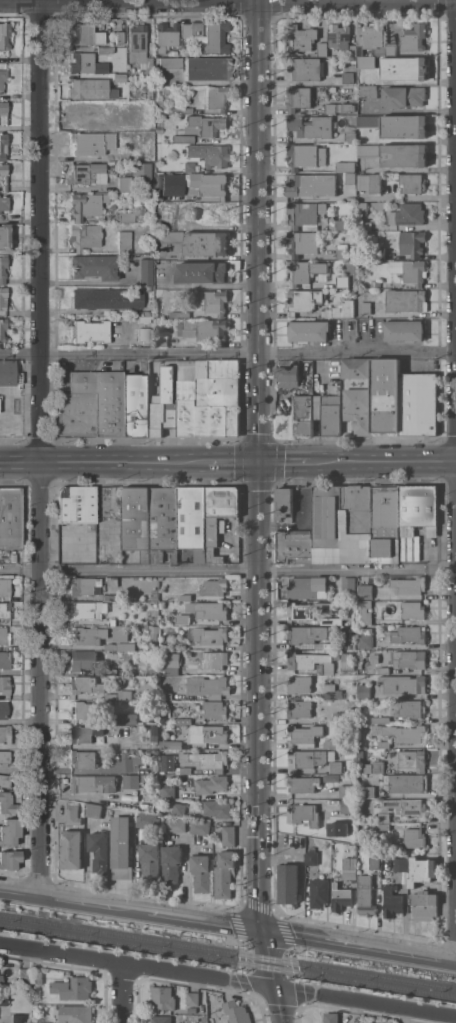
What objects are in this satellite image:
road: (338, 1)
road: (228, 3)
building: (196, 29)
building: (185, 30)
building: (4, 35)
building: (85, 35)
building: (339, 35)
building: (165, 36)
building: (119, 37)
building: (301, 37)
building: (372, 37)
building: (414, 37)
building: (214, 38)
building: (137, 44)
building: (321, 49)
building: (390, 49)
building: (353, 50)
building: (104, 51)
building: (368, 63)
building: (85, 64)
building: (170, 64)
building: (145, 68)
building: (304, 68)
building: (404, 68)
building: (206, 69)
building: (348, 78)
building: (2, 79)
building: (119, 80)
building: (89, 90)
building: (148, 90)
building: (368, 91)
building: (403, 97)
building: (216, 98)
building: (299, 98)
building: (339, 107)
building: (3, 109)
building: (181, 111)
building: (86, 112)
building: (139, 115)
building: (368, 121)
building: (207, 124)
building: (311, 126)
building: (404, 126)
building: (159, 130)
building: (350, 137)
building: (182, 139)
building: (91, 143)
building: (3, 146)
building: (368, 150)
building: (209, 154)
building: (306, 155)
building: (404, 155)
building: (126, 156)
building: (345, 166)
building: (188, 167)
building: (141, 172)
building: (87, 174)
building: (3, 175)
building: (351, 177)
building: (192, 180)
building: (370, 182)
building: (412, 183)
building: (214, 184)
building: (312, 184)
building: (125, 185)
building: (172, 185)
building: (4, 203)
building: (86, 205)
building: (362, 207)
building: (306, 214)
building: (407, 214)
building: (126, 217)
building: (346, 224)
building: (365, 225)
road: (258, 230)
building: (4, 237)
building: (83, 237)
building: (169, 237)
building: (120, 241)
building: (206, 243)
building: (303, 243)
building: (412, 243)
building: (342, 250)
building: (93, 267)
building: (2, 268)
building: (410, 270)
building: (145, 272)
building: (203, 272)
building: (298, 272)
building: (342, 281)
building: (148, 288)
building: (107, 298)
building: (2, 299)
building: (302, 300)
building: (406, 300)
building: (214, 301)
building: (342, 309)
building: (364, 311)
building: (144, 314)
building: (180, 314)
building: (143, 320)
building: (2, 329)
building: (204, 329)
building: (309, 330)
building: (404, 330)
building: (89, 332)
building: (143, 335)
building: (161, 341)
road: (228, 354)
building: (356, 370)
building: (9, 373)
building: (288, 375)
building: (352, 383)
building: (209, 398)
building: (375, 400)
building: (418, 403)
building: (92, 404)
building: (164, 405)
building: (136, 406)
building: (317, 407)
building: (331, 414)
building: (297, 418)
road: (39, 447)
road: (231, 461)
traffic signals: (259, 461)
road: (291, 461)
road: (389, 461)
road: (102, 462)
road: (100, 504)
building: (285, 504)
building: (419, 507)
building: (341, 513)
building: (10, 518)
building: (385, 519)
building: (137, 520)
building: (193, 520)
building: (78, 522)
building: (164, 523)
building: (212, 541)
building: (294, 545)
building: (407, 547)
road: (228, 570)
building: (409, 585)
building: (91, 586)
building: (215, 586)
building: (308, 586)
building: (4, 587)
building: (349, 587)
building: (366, 591)
building: (115, 597)
building: (186, 597)
building: (208, 609)
building: (414, 609)
building: (88, 610)
building: (300, 610)
building: (4, 611)
building: (365, 612)
building: (113, 621)
building: (330, 621)
building: (154, 632)
building: (302, 634)
building: (407, 634)
building: (4, 636)
building: (87, 636)
building: (212, 637)
building: (366, 638)
building: (333, 645)
building: (352, 645)
building: (120, 646)
building: (83, 659)
building: (172, 659)
building: (410, 659)
building: (4, 660)
building: (214, 660)
building: (310, 661)
building: (348, 661)
building: (169, 670)
building: (384, 670)
building: (110, 671)
building: (156, 671)
building: (403, 683)
building: (299, 684)
building: (4, 685)
building: (84, 685)
building: (208, 686)
building: (330, 686)
building: (364, 691)
building: (125, 694)
road: (257, 694)
building: (329, 694)
building: (111, 696)
building: (167, 696)
building: (300, 708)
building: (411, 708)
building: (85, 709)
building: (216, 709)
building: (2, 710)
building: (341, 716)
building: (127, 718)
building: (381, 719)
building: (177, 721)
building: (167, 732)
building: (84, 733)
building: (209, 734)
building: (412, 734)
building: (5, 735)
building: (304, 735)
building: (331, 743)
building: (172, 744)
building: (384, 744)
building: (4, 756)
building: (308, 758)
building: (83, 759)
building: (208, 759)
building: (413, 759)
building: (167, 762)
building: (336, 766)
building: (374, 767)
building: (185, 770)
building: (331, 777)
building: (4, 781)
building: (131, 781)
building: (407, 782)
building: (92, 783)
building: (303, 783)
building: (212, 784)
building: (345, 791)
building: (367, 791)
building: (169, 792)
building: (8, 802)
building: (347, 806)
building: (408, 806)
building: (175, 808)
building: (217, 808)
building: (94, 810)
building: (303, 813)
building: (72, 814)
building: (384, 817)
building: (148, 820)
building: (176, 825)
building: (384, 826)
building: (200, 827)
building: (338, 829)
building: (9, 832)
building: (228, 834)
building: (414, 837)
building: (121, 847)
building: (71, 849)
building: (99, 851)
building: (313, 856)
building: (150, 858)
building: (9, 860)
building: (375, 862)
building: (172, 863)
building: (400, 864)
building: (349, 868)
building: (421, 870)
building: (202, 872)
building: (224, 874)
building: (300, 875)
building: (288, 883)
road: (19, 892)
building: (319, 893)
building: (366, 895)
building: (341, 897)
building: (392, 901)
building: (424, 905)
road: (149, 911)
traffic signals: (261, 928)
road: (358, 943)
railway: (227, 951)
road: (267, 957)
railway: (228, 960)
road: (137, 965)
building: (23, 975)
building: (37, 977)
building: (1, 980)
traffic signals: (274, 987)
building: (74, 988)
road: (122, 993)
building: (163, 997)
building: (192, 998)
building: (3, 1001)
road: (365, 1002)
road: (278, 1005)
building: (237, 1012)
building: (76, 1013)
building: (331, 1017)
building: (17, 1018)
building: (161, 1018)
building: (366, 1020)
building: (42, 1022)

